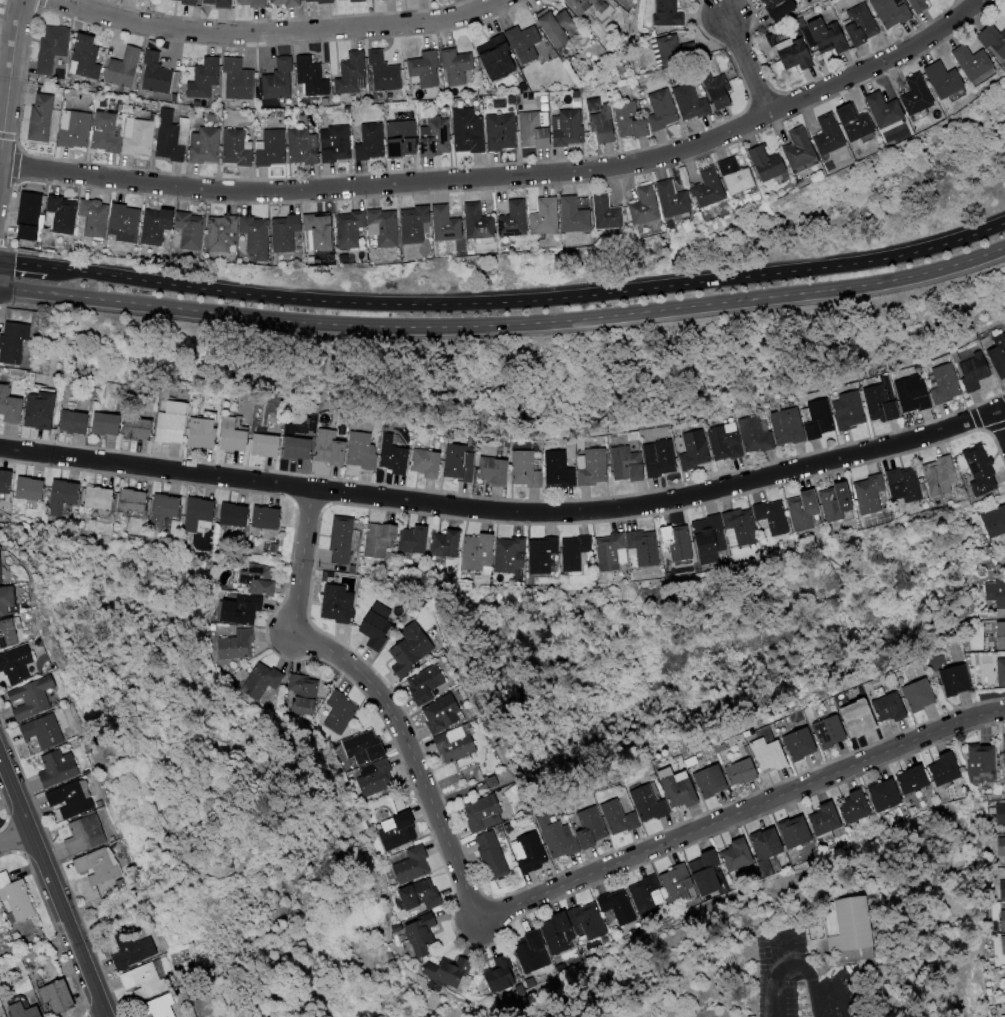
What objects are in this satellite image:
building: (154, 0)
building: (341, 0)
building: (374, 0)
building: (186, 1)
building: (357, 1)
building: (321, 2)
building: (579, 3)
building: (221, 4)
building: (254, 4)
building: (289, 4)
building: (920, 5)
building: (780, 8)
building: (892, 13)
building: (670, 14)
building: (862, 26)
building: (559, 28)
road: (283, 33)
building: (827, 36)
building: (997, 39)
building: (524, 43)
building: (52, 48)
building: (670, 51)
building: (86, 58)
building: (796, 59)
building: (500, 62)
building: (979, 63)
building: (456, 66)
road: (749, 66)
building: (124, 69)
building: (424, 70)
building: (384, 73)
building: (157, 74)
building: (352, 75)
building: (204, 79)
building: (310, 79)
building: (238, 80)
building: (277, 80)
building: (949, 80)
road: (11, 86)
building: (721, 91)
building: (922, 96)
building: (693, 103)
building: (663, 111)
building: (891, 111)
building: (626, 117)
building: (41, 118)
building: (602, 121)
building: (861, 123)
building: (568, 127)
building: (75, 129)
building: (535, 130)
building: (468, 131)
building: (500, 132)
building: (108, 133)
building: (139, 136)
building: (834, 136)
building: (436, 138)
building: (169, 139)
building: (401, 139)
building: (371, 142)
building: (336, 144)
building: (205, 145)
building: (303, 147)
building: (236, 148)
building: (271, 148)
building: (805, 151)
building: (772, 164)
road: (510, 177)
building: (742, 177)
building: (714, 189)
building: (679, 202)
building: (648, 207)
building: (610, 213)
building: (63, 214)
building: (578, 217)
building: (549, 218)
building: (29, 220)
building: (516, 220)
building: (93, 221)
building: (480, 222)
building: (125, 224)
building: (417, 225)
building: (449, 226)
building: (158, 227)
building: (386, 228)
building: (353, 229)
building: (191, 231)
building: (288, 233)
building: (320, 234)
building: (225, 235)
building: (256, 238)
road: (23, 263)
road: (528, 300)
road: (142, 304)
road: (648, 310)
building: (16, 344)
building: (997, 357)
building: (974, 372)
building: (944, 384)
building: (913, 394)
building: (882, 404)
building: (11, 407)
building: (849, 410)
building: (42, 412)
building: (819, 419)
road: (1001, 419)
building: (77, 424)
building: (108, 425)
building: (174, 425)
building: (789, 426)
building: (139, 430)
building: (204, 434)
building: (755, 435)
building: (235, 436)
building: (726, 442)
building: (267, 446)
building: (331, 448)
building: (299, 450)
building: (695, 450)
building: (362, 451)
building: (395, 457)
building: (660, 459)
building: (427, 464)
building: (461, 464)
building: (627, 465)
building: (593, 467)
building: (526, 469)
building: (559, 469)
building: (982, 469)
building: (494, 472)
building: (944, 475)
building: (6, 484)
building: (30, 489)
building: (909, 490)
building: (873, 494)
building: (63, 497)
building: (100, 498)
building: (133, 500)
building: (840, 503)
building: (165, 511)
building: (810, 511)
road: (507, 512)
building: (235, 514)
building: (200, 515)
building: (268, 517)
building: (774, 519)
building: (996, 520)
building: (742, 527)
building: (342, 539)
building: (380, 539)
building: (418, 540)
building: (714, 540)
building: (452, 544)
building: (678, 546)
building: (643, 548)
building: (480, 552)
building: (613, 552)
building: (543, 554)
building: (512, 556)
building: (579, 556)
building: (2, 568)
building: (257, 577)
building: (997, 591)
building: (9, 599)
building: (339, 603)
building: (240, 609)
building: (377, 629)
building: (12, 632)
building: (1001, 635)
building: (234, 645)
building: (412, 649)
building: (18, 664)
building: (1001, 671)
building: (956, 680)
building: (260, 682)
building: (428, 684)
building: (921, 695)
building: (36, 697)
building: (301, 698)
building: (892, 707)
building: (339, 713)
building: (445, 713)
building: (862, 717)
building: (46, 731)
building: (832, 731)
building: (465, 741)
building: (803, 745)
building: (364, 748)
building: (1003, 750)
building: (772, 754)
building: (483, 764)
building: (983, 765)
building: (62, 768)
building: (947, 769)
building: (745, 771)
building: (709, 775)
building: (374, 779)
building: (497, 779)
building: (916, 779)
building: (681, 788)
building: (888, 797)
building: (76, 798)
building: (651, 803)
building: (857, 807)
building: (492, 809)
building: (1000, 814)
building: (622, 817)
building: (823, 818)
building: (593, 827)
building: (94, 830)
building: (396, 832)
building: (797, 832)
building: (560, 836)
road: (16, 838)
building: (1001, 847)
building: (528, 851)
building: (769, 851)
building: (735, 855)
building: (492, 857)
building: (103, 864)
building: (413, 865)
building: (712, 873)
road: (54, 884)
building: (680, 885)
building: (1003, 889)
building: (421, 896)
building: (15, 898)
building: (642, 901)
building: (616, 905)
road: (509, 908)
building: (1003, 920)
building: (862, 923)
building: (571, 926)
building: (420, 938)
building: (820, 945)
building: (137, 949)
building: (1004, 949)
building: (535, 950)
building: (447, 972)
building: (497, 975)
road: (819, 976)
road: (783, 977)
building: (147, 981)
building: (1004, 986)
road: (850, 989)
building: (58, 996)
building: (160, 1007)
building: (26, 1011)

